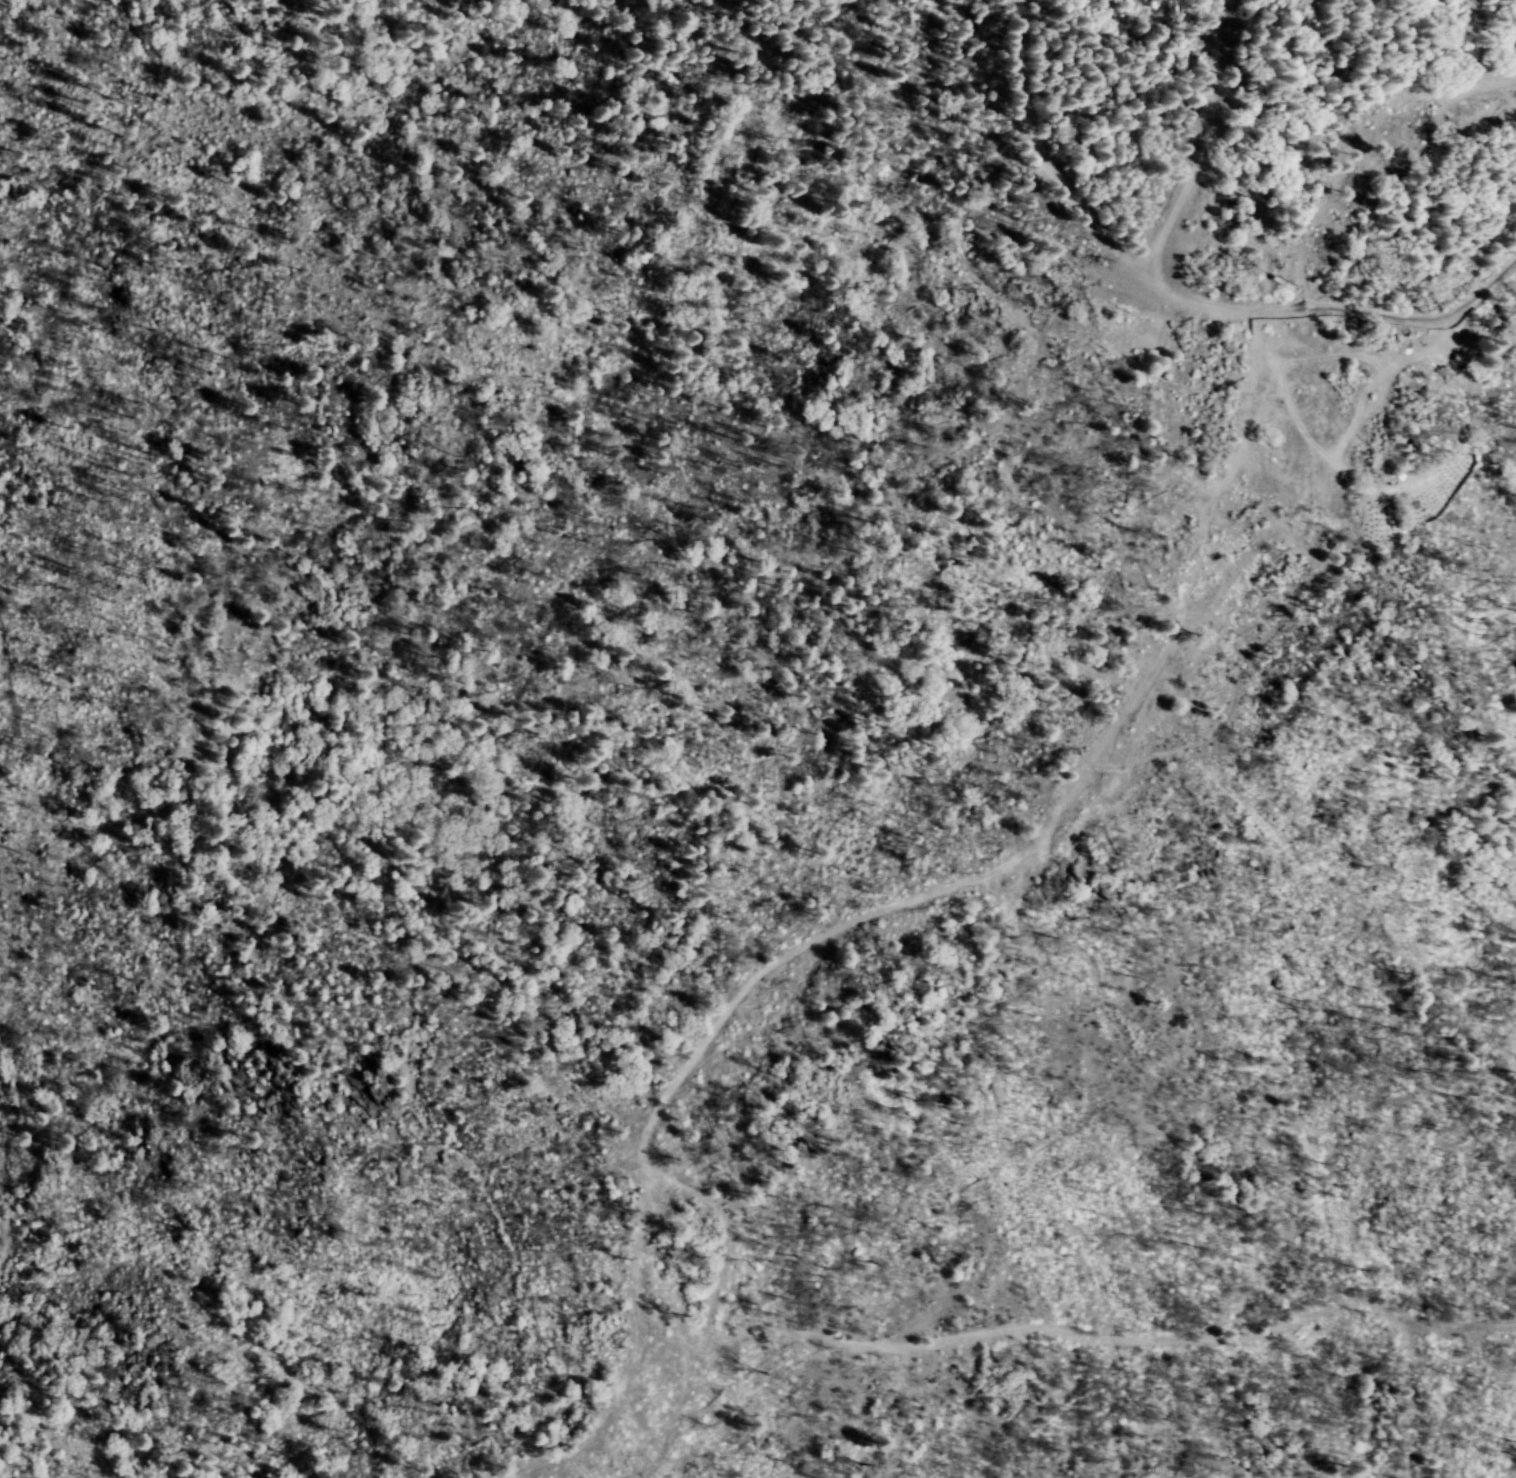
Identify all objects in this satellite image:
road: (1204, 266)

